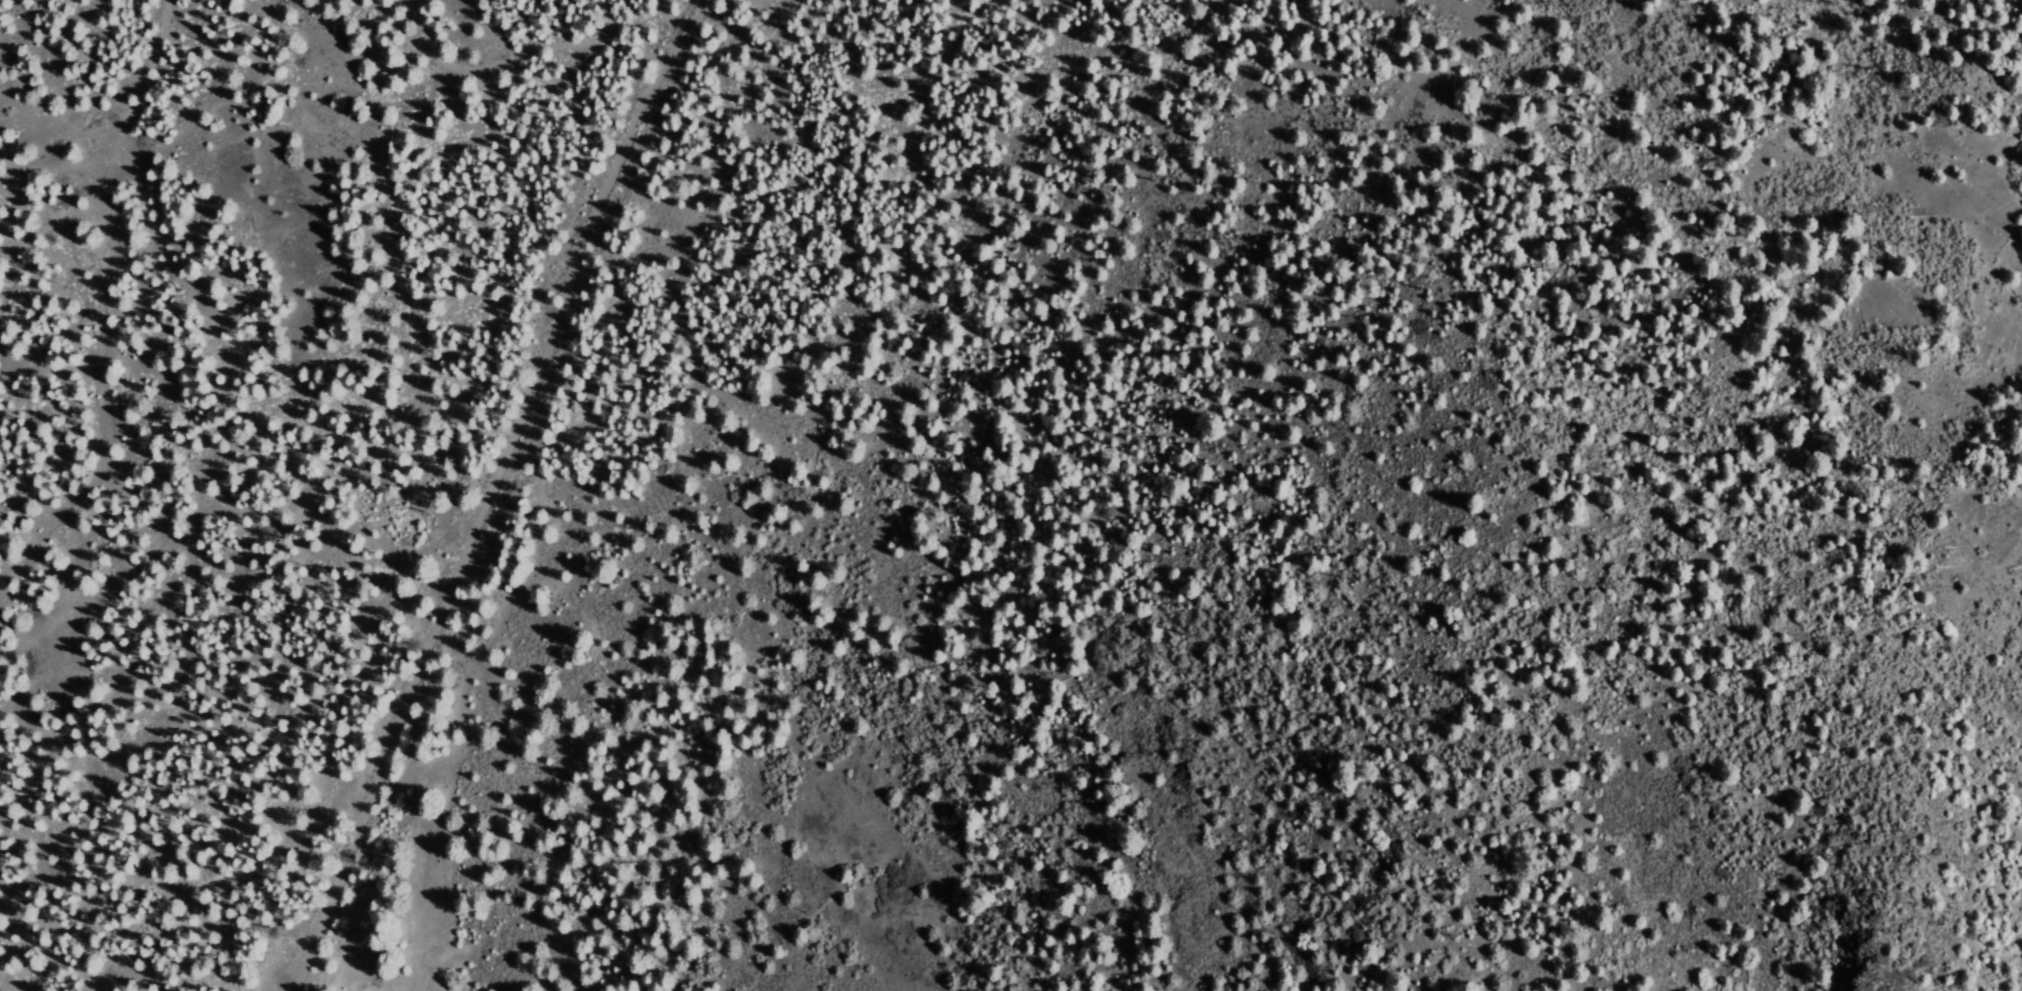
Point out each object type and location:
road: (483, 489)

